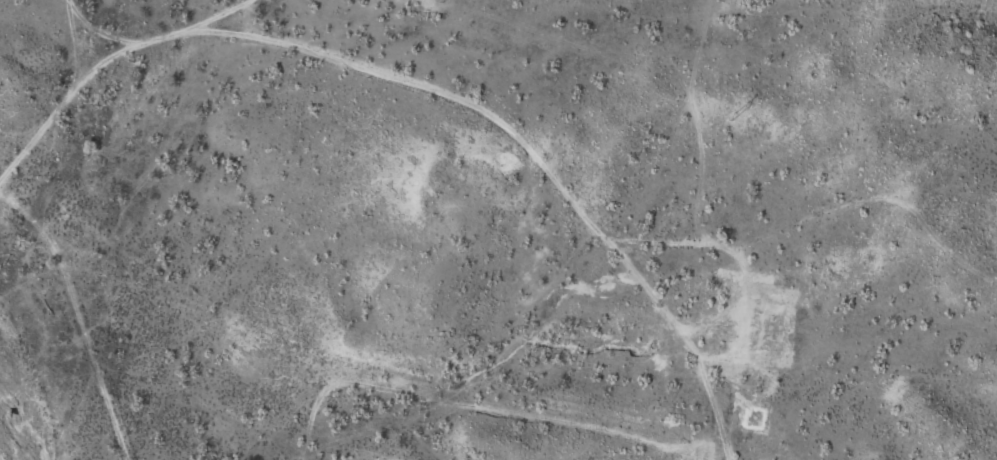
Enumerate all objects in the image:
power tower: (735, 113)

